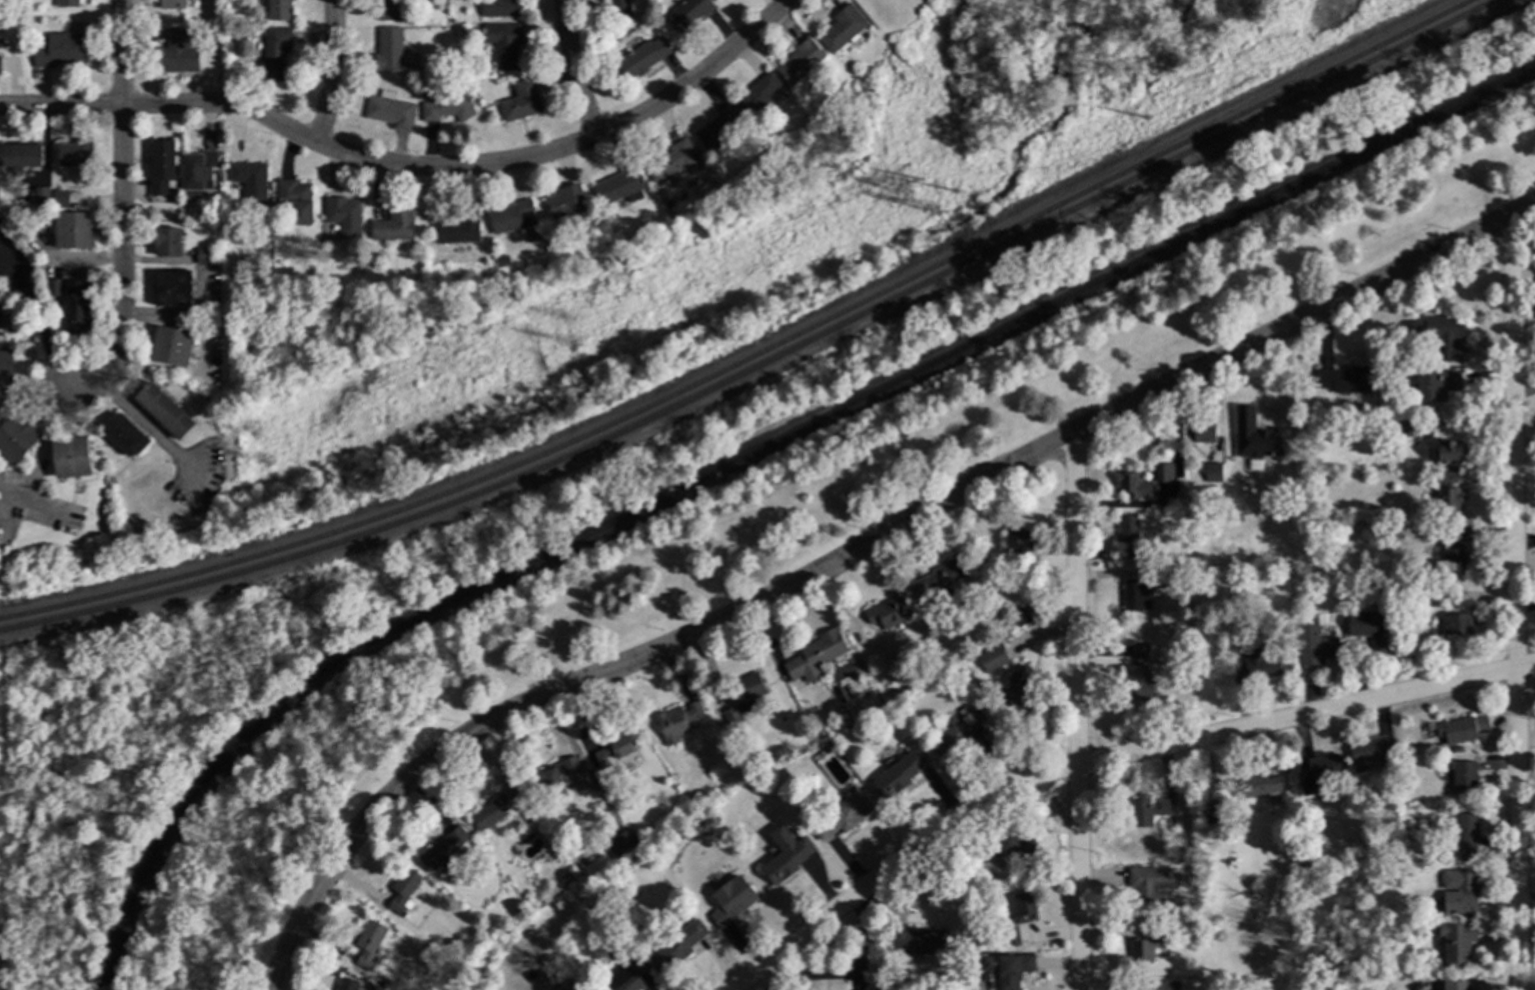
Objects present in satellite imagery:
building: (66, 3)
building: (171, 4)
building: (499, 8)
building: (279, 10)
building: (387, 10)
building: (619, 10)
building: (687, 14)
building: (840, 29)
building: (503, 44)
building: (389, 49)
building: (60, 50)
building: (275, 52)
building: (176, 54)
building: (639, 59)
building: (799, 62)
road: (334, 71)
road: (573, 71)
building: (757, 96)
building: (521, 101)
building: (446, 108)
building: (389, 111)
power tower: (1144, 117)
building: (717, 127)
building: (75, 154)
building: (21, 156)
building: (671, 161)
road: (410, 165)
building: (162, 169)
building: (197, 169)
power tower: (922, 181)
building: (249, 182)
building: (620, 186)
power tower: (906, 192)
power tower: (955, 192)
building: (41, 195)
building: (59, 199)
building: (295, 200)
building: (566, 202)
road: (123, 212)
power tower: (934, 212)
building: (343, 216)
building: (176, 217)
building: (512, 217)
building: (394, 225)
building: (458, 228)
building: (74, 230)
park: (732, 240)
building: (167, 241)
building: (205, 256)
building: (501, 262)
building: (53, 286)
building: (172, 288)
building: (16, 297)
building: (79, 308)
road: (1304, 318)
power tower: (569, 320)
building: (1439, 335)
building: (172, 346)
power tower: (579, 347)
railway: (756, 357)
building: (1386, 360)
railway: (768, 364)
building: (6, 369)
building: (1344, 380)
building: (1435, 386)
building: (164, 411)
road: (151, 429)
building: (1403, 430)
building: (1203, 432)
building: (125, 436)
power tower: (259, 438)
building: (1255, 438)
building: (16, 439)
building: (1447, 453)
building: (71, 456)
power tower: (269, 464)
road: (38, 468)
building: (1211, 472)
building: (1163, 473)
building: (1132, 486)
building: (1447, 496)
building: (1235, 518)
building: (1453, 534)
park: (662, 536)
building: (1128, 536)
building: (1018, 542)
building: (1450, 560)
building: (1154, 574)
building: (941, 578)
building: (1135, 596)
building: (1452, 602)
road: (1513, 604)
building: (1299, 610)
building: (887, 612)
building: (1018, 617)
building: (1278, 622)
building: (1005, 625)
building: (1455, 625)
building: (1368, 629)
building: (1314, 647)
building: (815, 654)
building: (992, 659)
road: (625, 660)
building: (1256, 665)
building: (1020, 670)
building: (1136, 677)
building: (1017, 692)
building: (743, 697)
road: (1076, 709)
building: (677, 719)
building: (968, 721)
building: (1461, 729)
building: (944, 742)
building: (615, 749)
building: (1453, 751)
building: (1367, 754)
road: (1099, 756)
building: (1318, 773)
building: (897, 775)
building: (1461, 776)
building: (555, 778)
building: (1261, 786)
building: (495, 808)
building: (1147, 812)
building: (525, 814)
building: (1218, 814)
building: (840, 816)
building: (1465, 838)
building: (617, 845)
building: (1367, 845)
building: (1009, 849)
building: (443, 850)
building: (784, 855)
building: (1148, 885)
building: (402, 889)
building: (1458, 892)
building: (731, 906)
building: (1255, 906)
building: (1024, 909)
building: (488, 931)
building: (1208, 934)
building: (1009, 937)
building: (916, 941)
building: (367, 943)
building: (1456, 944)
building: (1147, 945)
building: (675, 947)
building: (1010, 970)
building: (626, 976)
building: (345, 984)
building: (1162, 986)
building: (1454, 986)

